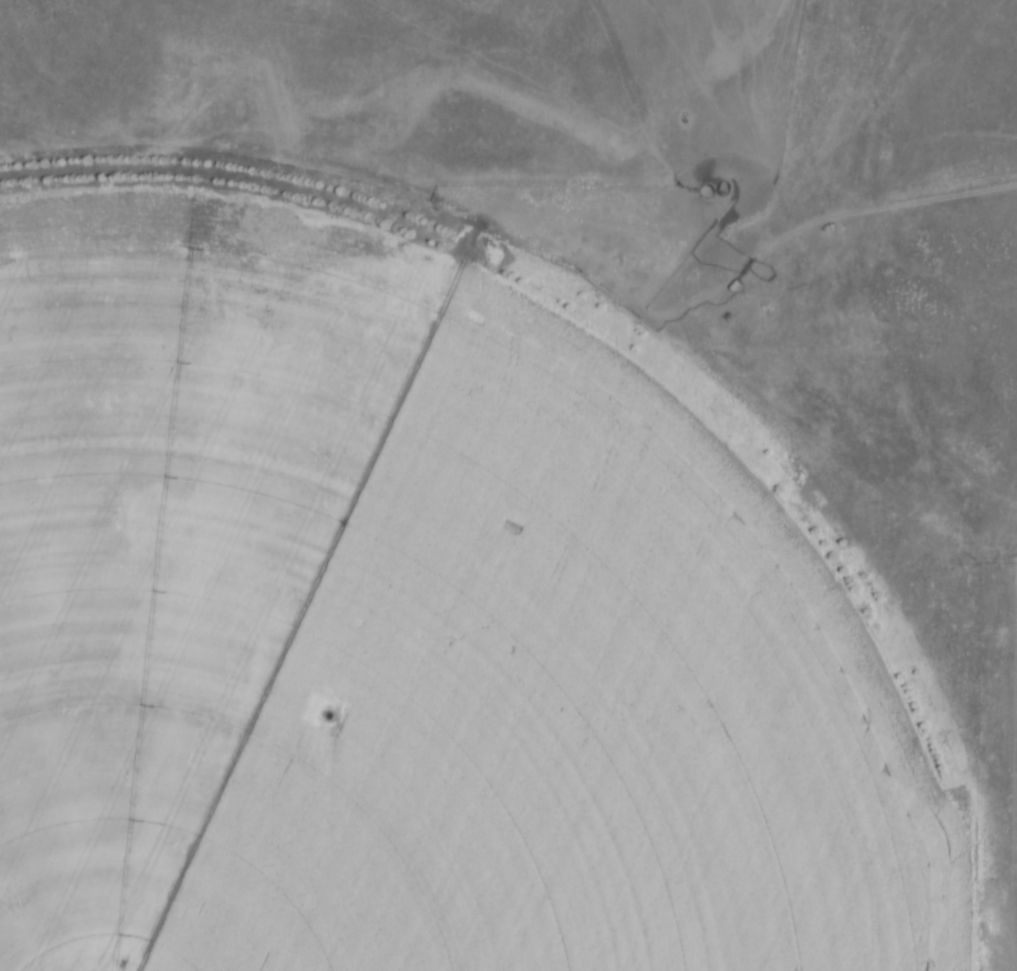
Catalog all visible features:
crop: (409, 629)

